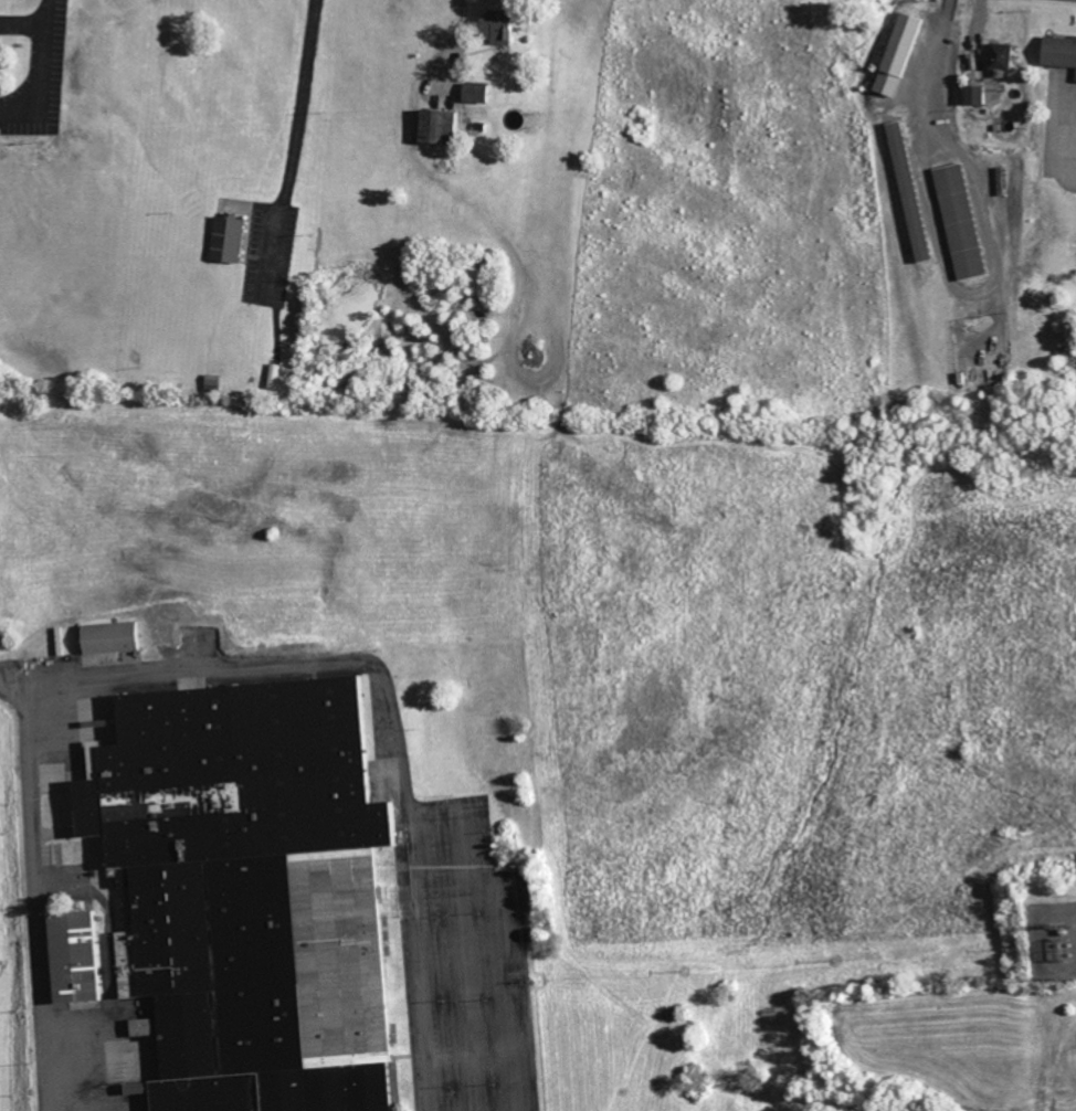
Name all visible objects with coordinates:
building: (504, 28)
road: (460, 40)
building: (1063, 51)
road: (933, 53)
building: (904, 54)
building: (1003, 59)
building: (1, 62)
building: (482, 93)
building: (979, 95)
road: (38, 110)
building: (447, 127)
road: (291, 145)
building: (963, 222)
building: (922, 236)
building: (233, 240)
road: (980, 292)
building: (115, 637)
road: (221, 673)
building: (254, 891)
building: (82, 957)
building: (145, 1027)

